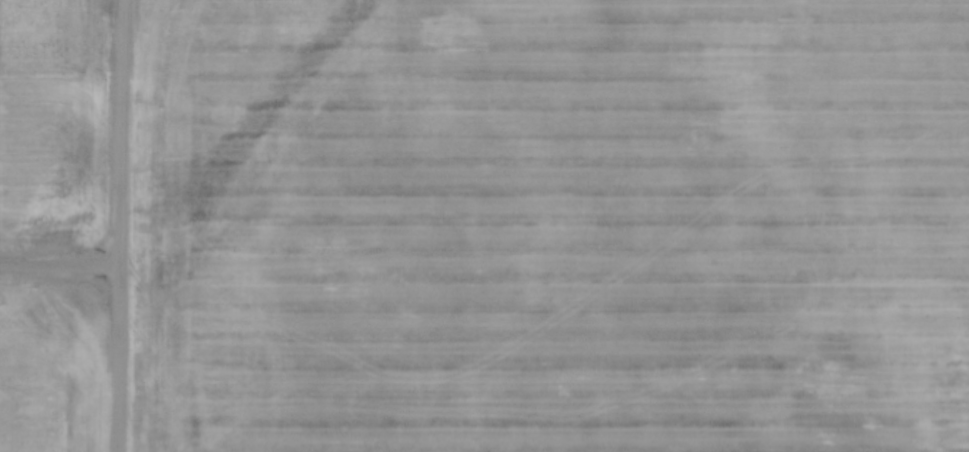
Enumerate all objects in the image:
road: (123, 226)

